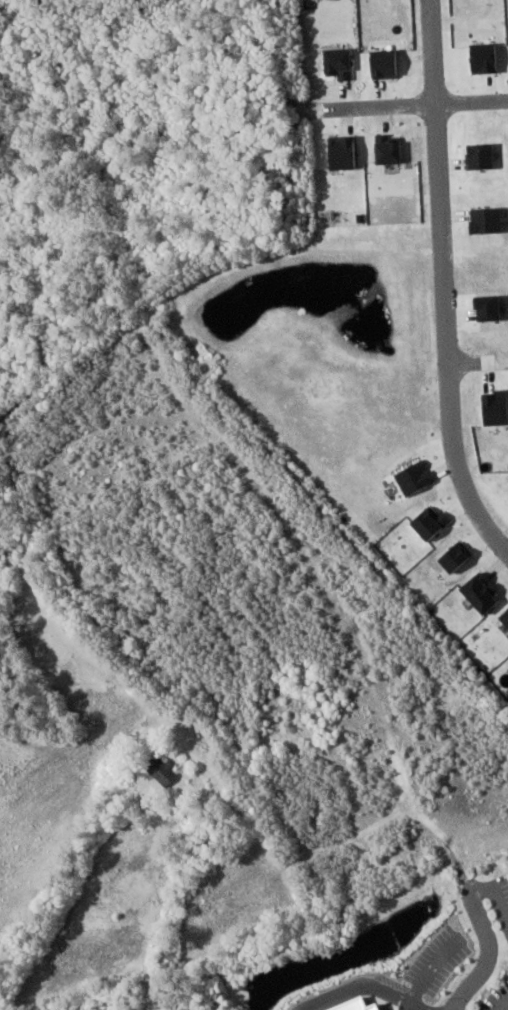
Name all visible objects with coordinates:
road: (415, 105)
road: (443, 285)
road: (477, 360)
building: (482, 593)
building: (164, 771)
road: (486, 949)
building: (360, 1005)

